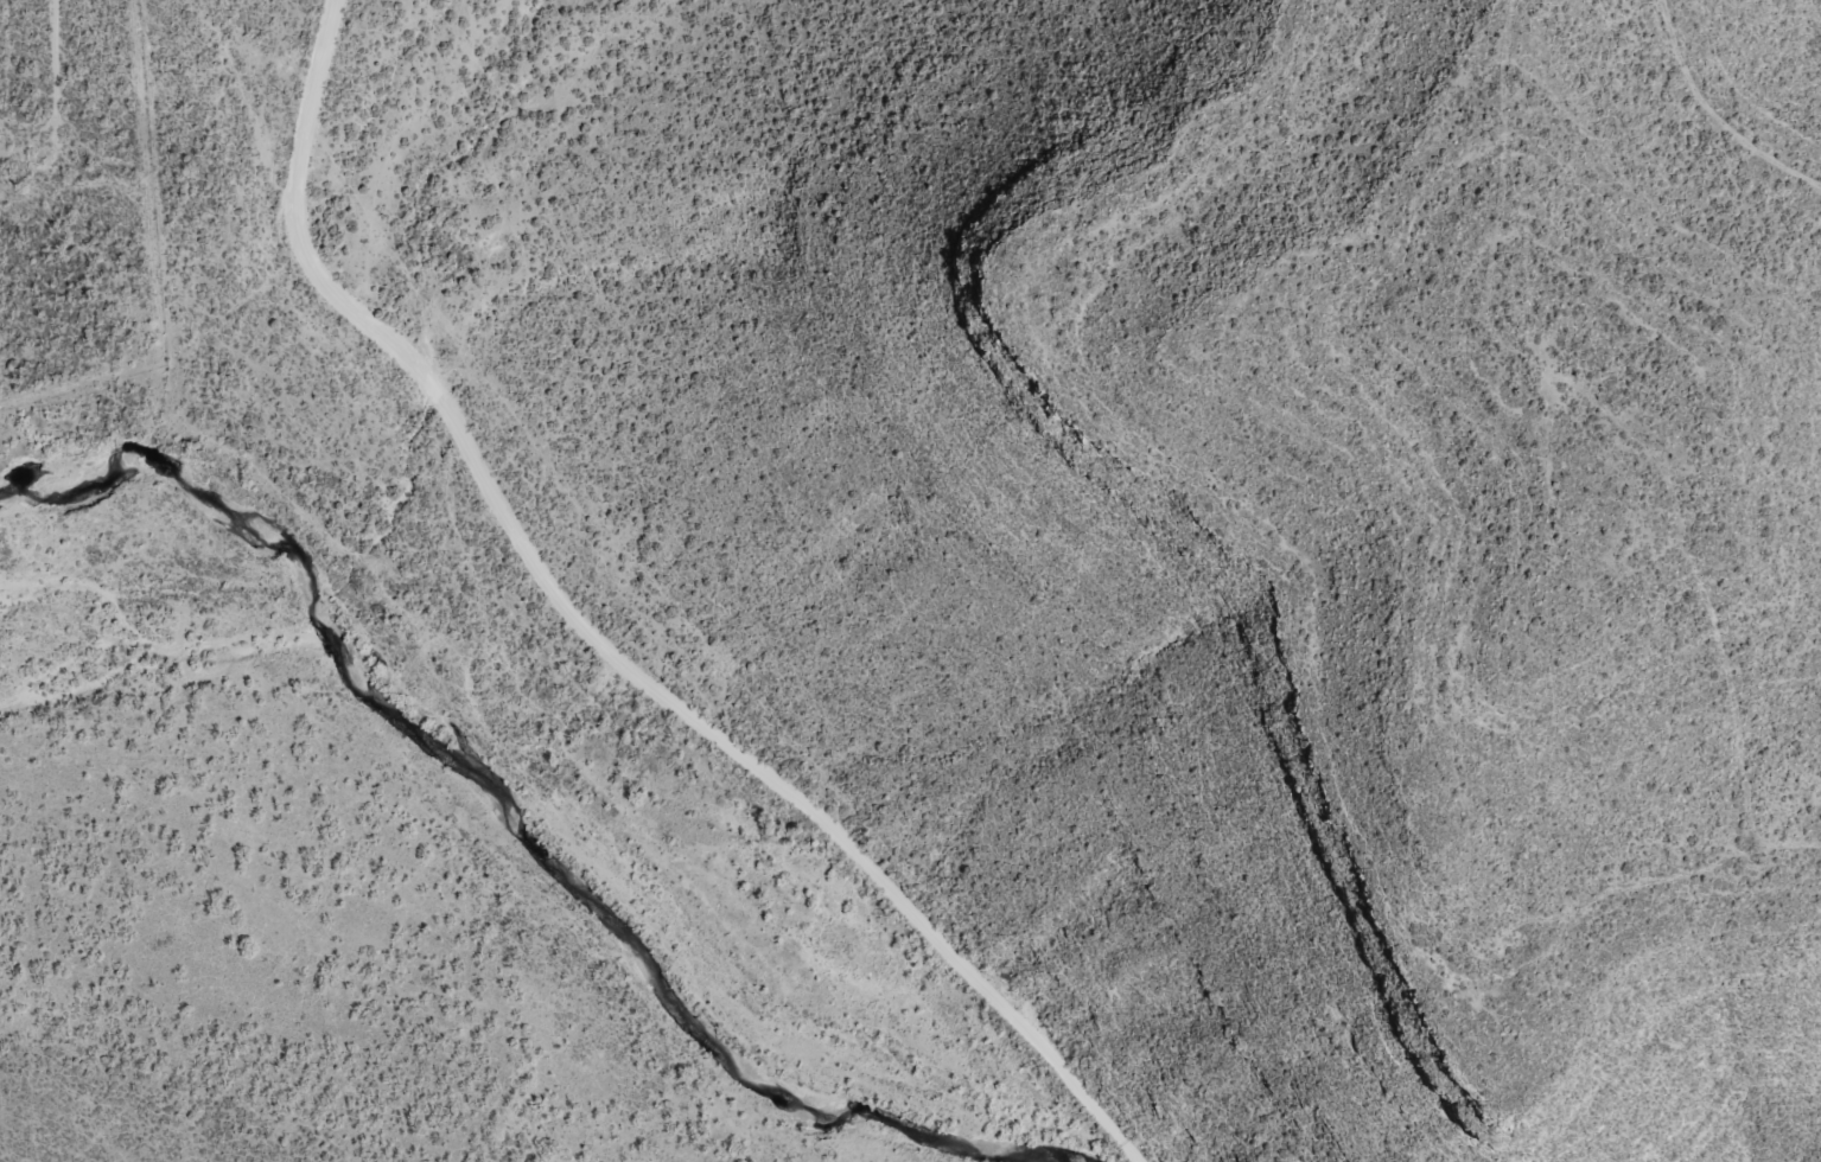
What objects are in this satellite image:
road: (597, 643)
river: (482, 803)

